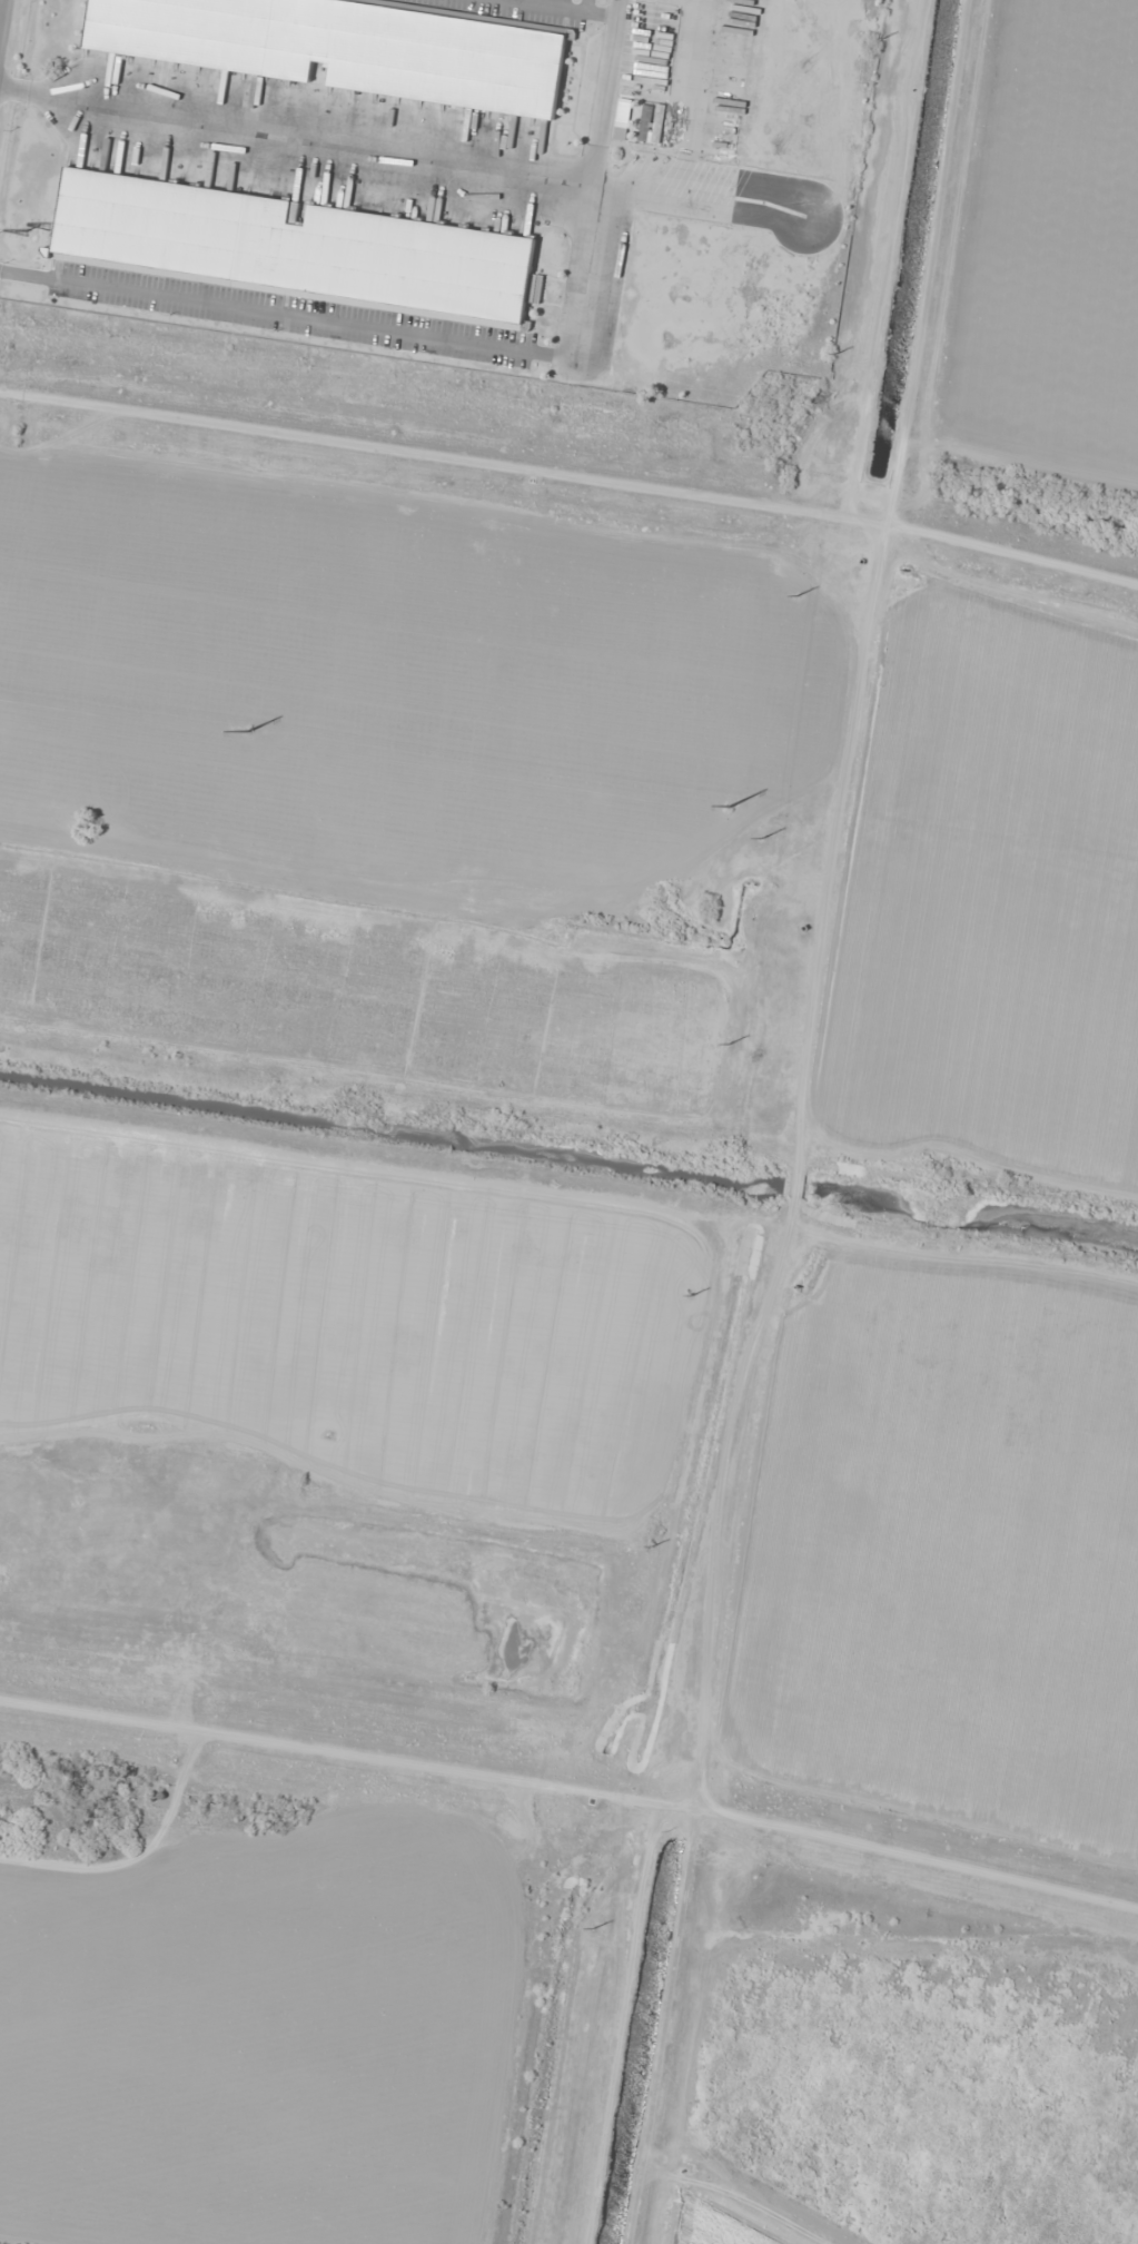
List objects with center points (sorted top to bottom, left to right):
road: (0, 2)
road: (584, 6)
road: (564, 8)
building: (350, 47)
building: (622, 119)
building: (644, 122)
road: (434, 155)
road: (591, 179)
building: (290, 248)
road: (281, 314)

